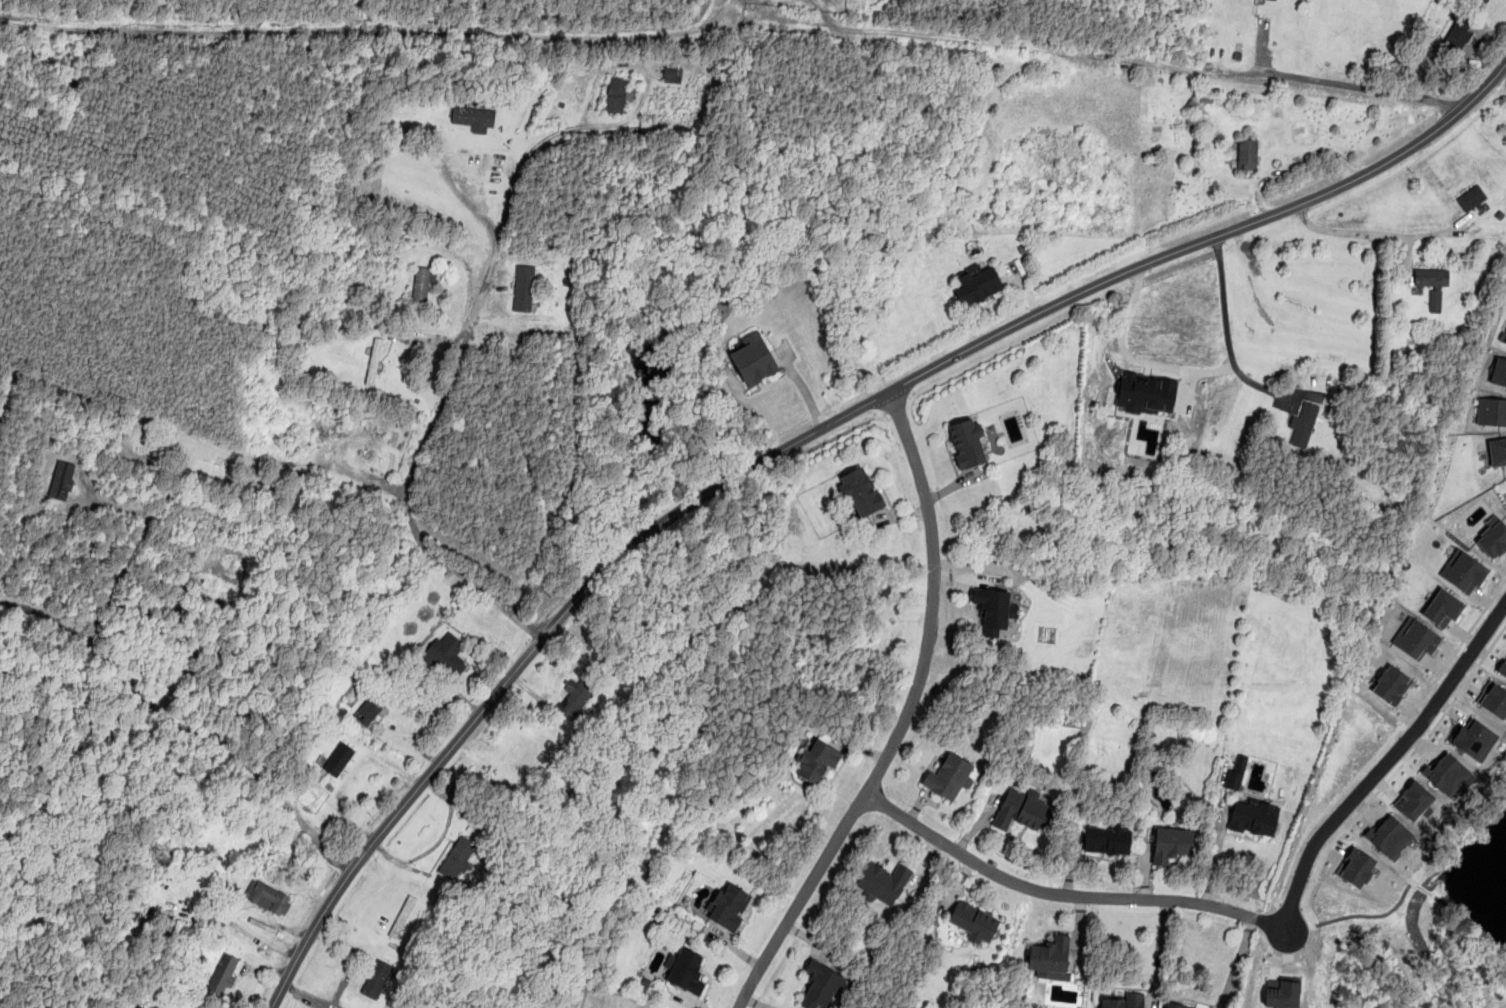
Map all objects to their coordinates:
building: (1490, 0)
building: (1457, 35)
building: (672, 74)
road: (1295, 77)
building: (616, 94)
building: (473, 117)
road: (576, 125)
building: (1247, 153)
building: (1471, 197)
road: (1362, 234)
building: (1432, 283)
building: (423, 284)
building: (977, 284)
building: (523, 287)
road: (1127, 312)
road: (1226, 326)
building: (1504, 337)
building: (752, 358)
building: (373, 360)
building: (1498, 371)
building: (1146, 393)
building: (1491, 411)
building: (1303, 423)
road: (807, 435)
road: (428, 436)
building: (966, 442)
building: (1497, 451)
building: (62, 479)
building: (860, 491)
building: (1493, 537)
road: (131, 555)
building: (1462, 571)
building: (1442, 607)
building: (993, 609)
building: (1415, 638)
building: (445, 655)
building: (1501, 667)
building: (1390, 684)
building: (574, 696)
building: (1492, 699)
building: (368, 709)
road: (905, 716)
road: (182, 727)
building: (1472, 738)
road: (1387, 740)
building: (338, 758)
building: (815, 759)
road: (1385, 762)
road: (1393, 771)
building: (1236, 773)
building: (1447, 773)
building: (949, 776)
building: (1413, 800)
building: (1020, 811)
building: (1253, 818)
building: (1389, 836)
building: (1107, 839)
building: (1171, 843)
road: (1214, 853)
building: (457, 857)
building: (1356, 867)
building: (883, 882)
road: (1423, 889)
road: (1065, 896)
building: (268, 897)
road: (1291, 905)
building: (728, 906)
building: (402, 916)
road: (1370, 916)
building: (972, 921)
road: (1469, 926)
road: (1160, 953)
building: (1049, 957)
road: (1237, 962)
building: (685, 969)
building: (223, 975)
building: (376, 978)
building: (821, 984)
building: (1282, 992)
building: (1121, 1000)
building: (1177, 1005)

